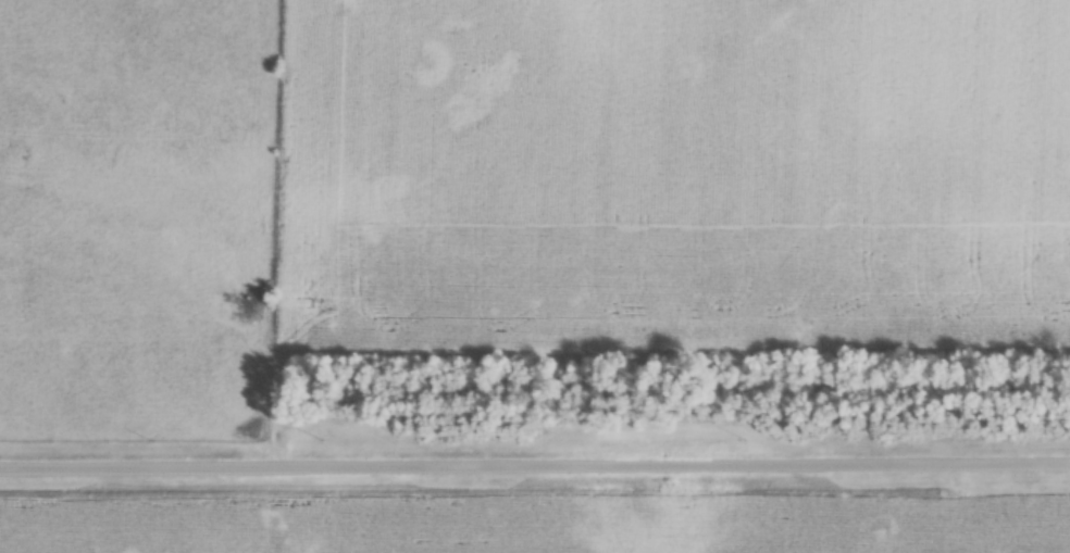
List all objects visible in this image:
road: (286, 231)
road: (534, 462)

